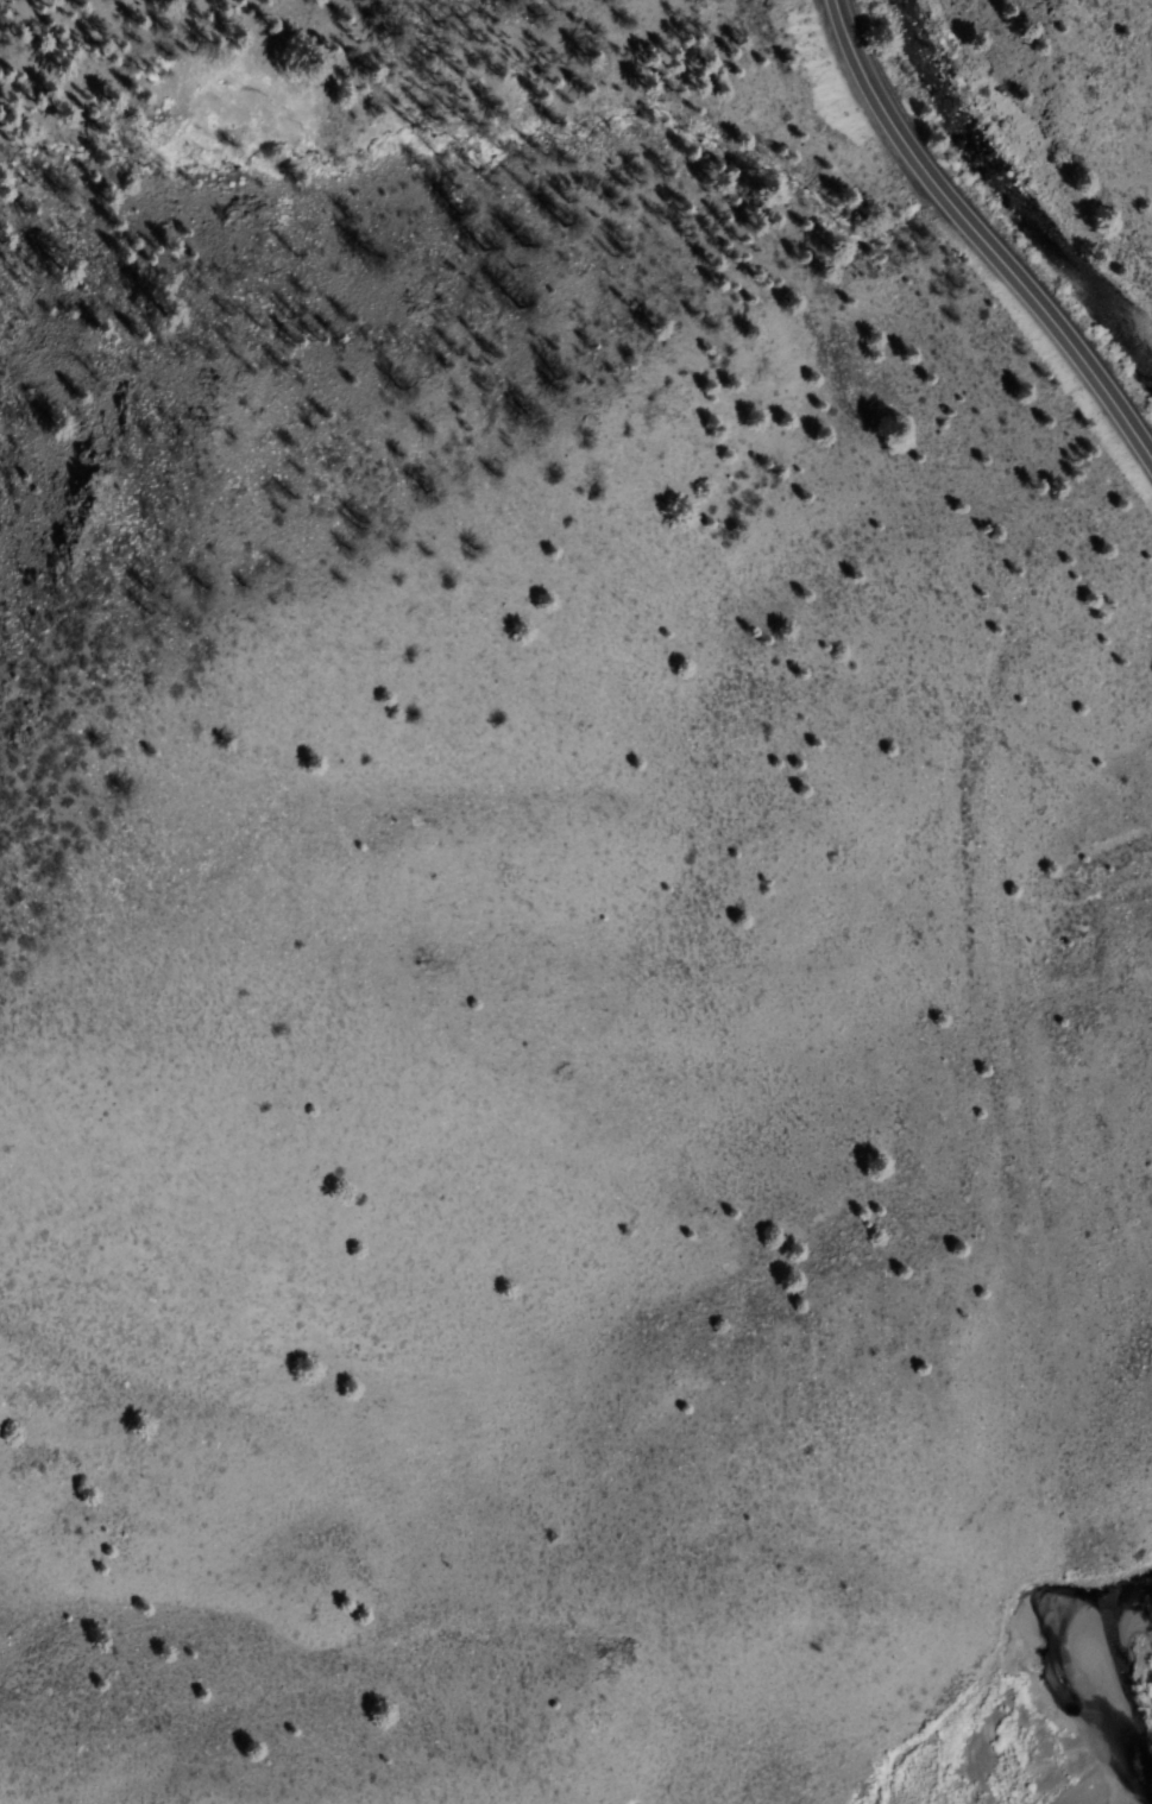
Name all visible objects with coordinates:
river: (1012, 196)
road: (977, 240)
river: (1053, 1663)

